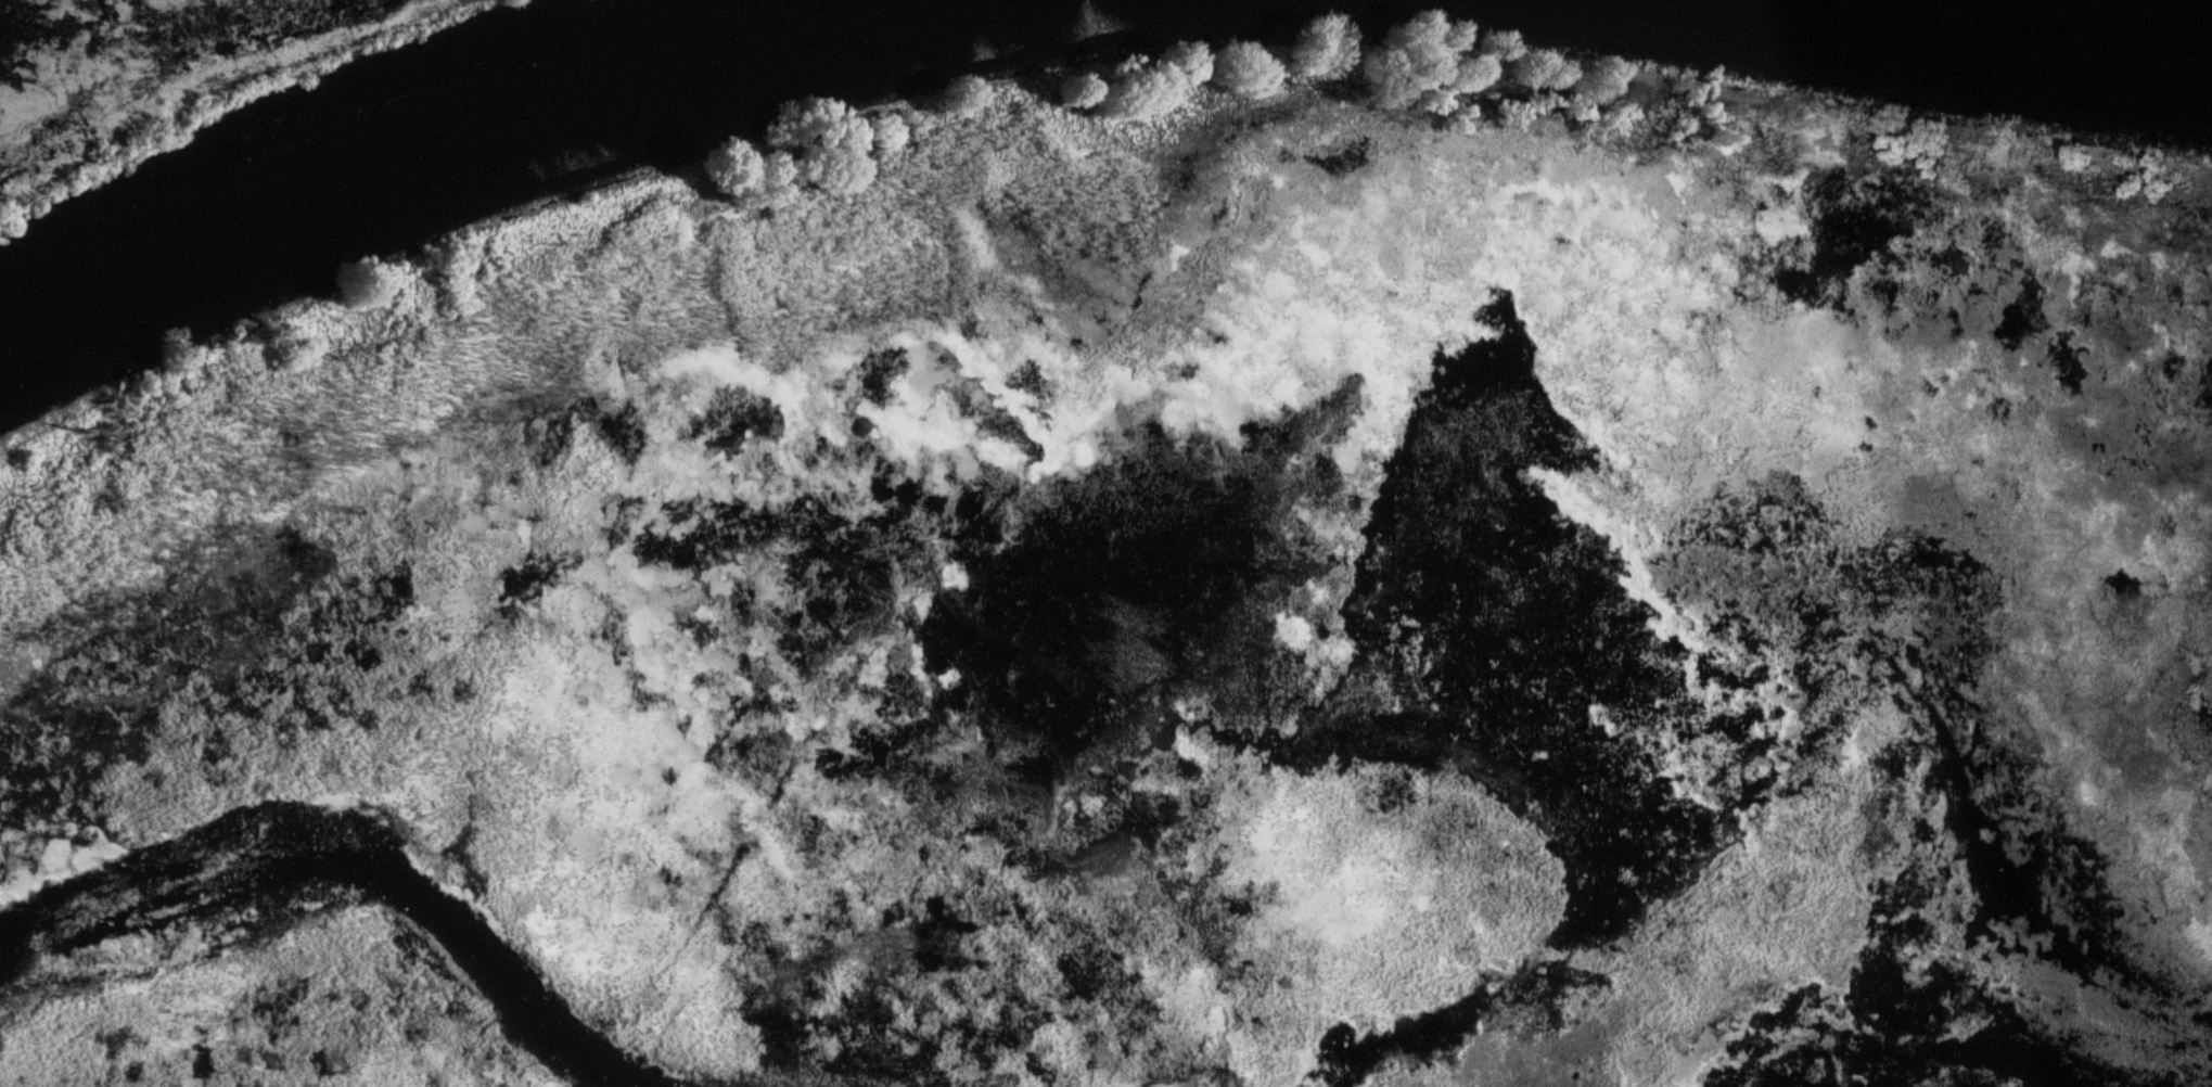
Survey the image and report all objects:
river: (1825, 14)
river: (420, 177)

